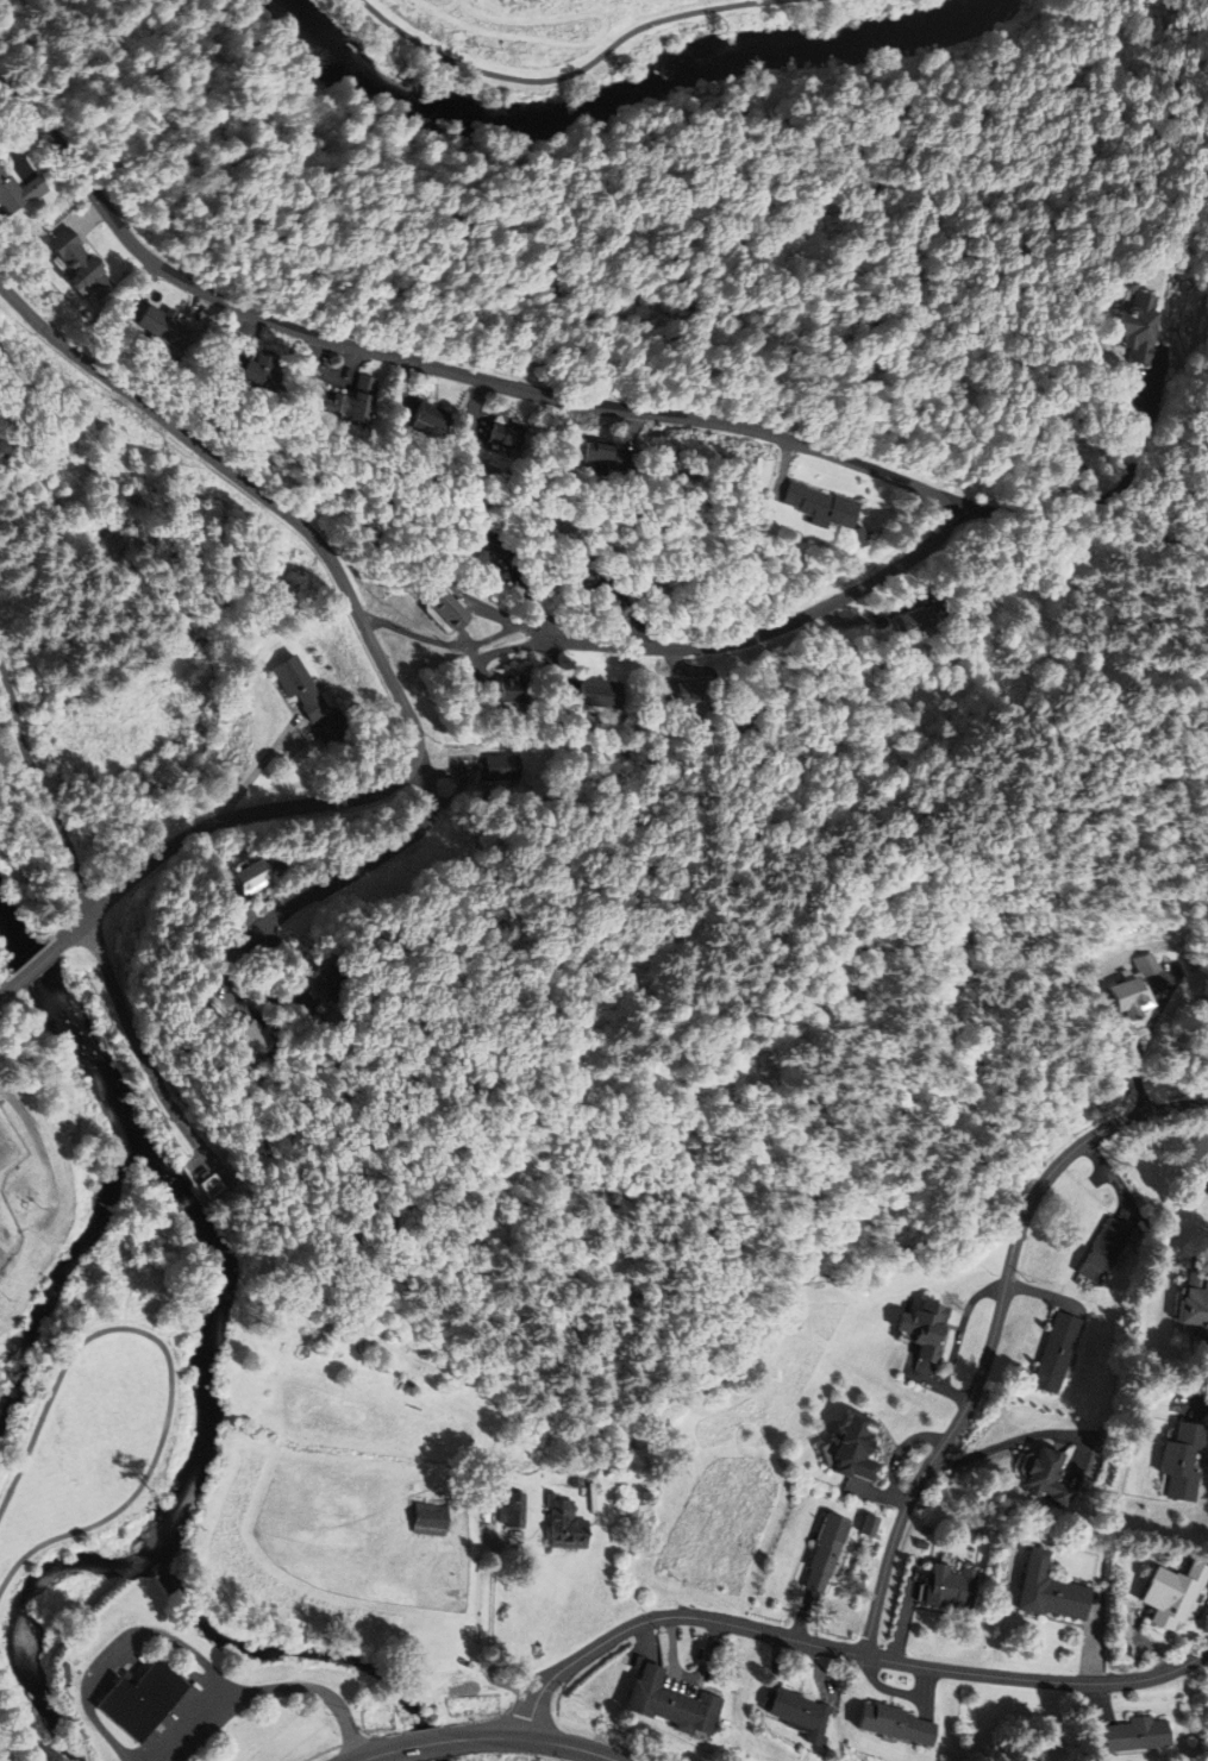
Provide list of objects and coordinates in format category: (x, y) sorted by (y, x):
park: (549, 38)
road: (594, 40)
road: (576, 74)
river: (620, 102)
road: (17, 148)
building: (17, 192)
road: (87, 218)
building: (73, 262)
road: (140, 283)
road: (199, 311)
building: (1135, 321)
road: (246, 326)
building: (159, 327)
road: (232, 336)
building: (257, 374)
road: (327, 378)
road: (1127, 381)
building: (363, 384)
road: (405, 387)
road: (476, 405)
building: (343, 407)
road: (664, 415)
building: (425, 420)
road: (632, 428)
building: (502, 434)
building: (607, 457)
road: (784, 469)
road: (1104, 497)
building: (820, 507)
building: (857, 537)
building: (481, 549)
building: (576, 569)
road: (525, 588)
road: (615, 588)
road: (125, 596)
building: (445, 608)
road: (492, 612)
road: (626, 612)
road: (876, 614)
building: (912, 619)
road: (465, 638)
road: (444, 644)
road: (496, 652)
road: (376, 653)
road: (472, 654)
road: (550, 664)
road: (684, 669)
building: (295, 683)
building: (512, 690)
building: (687, 691)
building: (597, 693)
park: (81, 726)
building: (501, 766)
road: (259, 769)
road: (421, 773)
road: (40, 789)
road: (445, 802)
building: (250, 877)
road: (312, 895)
road: (254, 921)
road: (64, 925)
road: (33, 959)
road: (36, 965)
road: (8, 980)
building: (319, 980)
building: (1132, 988)
road: (10, 990)
road: (284, 1001)
road: (233, 1011)
river: (65, 1014)
building: (248, 1038)
road: (133, 1047)
road: (43, 1152)
building: (214, 1185)
building: (1103, 1249)
building: (1195, 1301)
building: (924, 1328)
road: (995, 1334)
building: (1056, 1352)
road: (171, 1368)
park: (89, 1446)
building: (852, 1447)
building: (1182, 1460)
building: (1047, 1475)
building: (575, 1481)
building: (514, 1510)
building: (430, 1518)
building: (868, 1524)
building: (565, 1527)
building: (824, 1550)
building: (949, 1586)
building: (1049, 1590)
building: (1170, 1593)
road: (906, 1611)
road: (840, 1649)
road: (117, 1654)
road: (262, 1690)
building: (143, 1700)
building: (668, 1703)
building: (799, 1713)
road: (15, 1718)
building: (895, 1724)
building: (1133, 1734)
road: (431, 1740)
road: (533, 1740)
road: (380, 1750)
park: (486, 1753)

